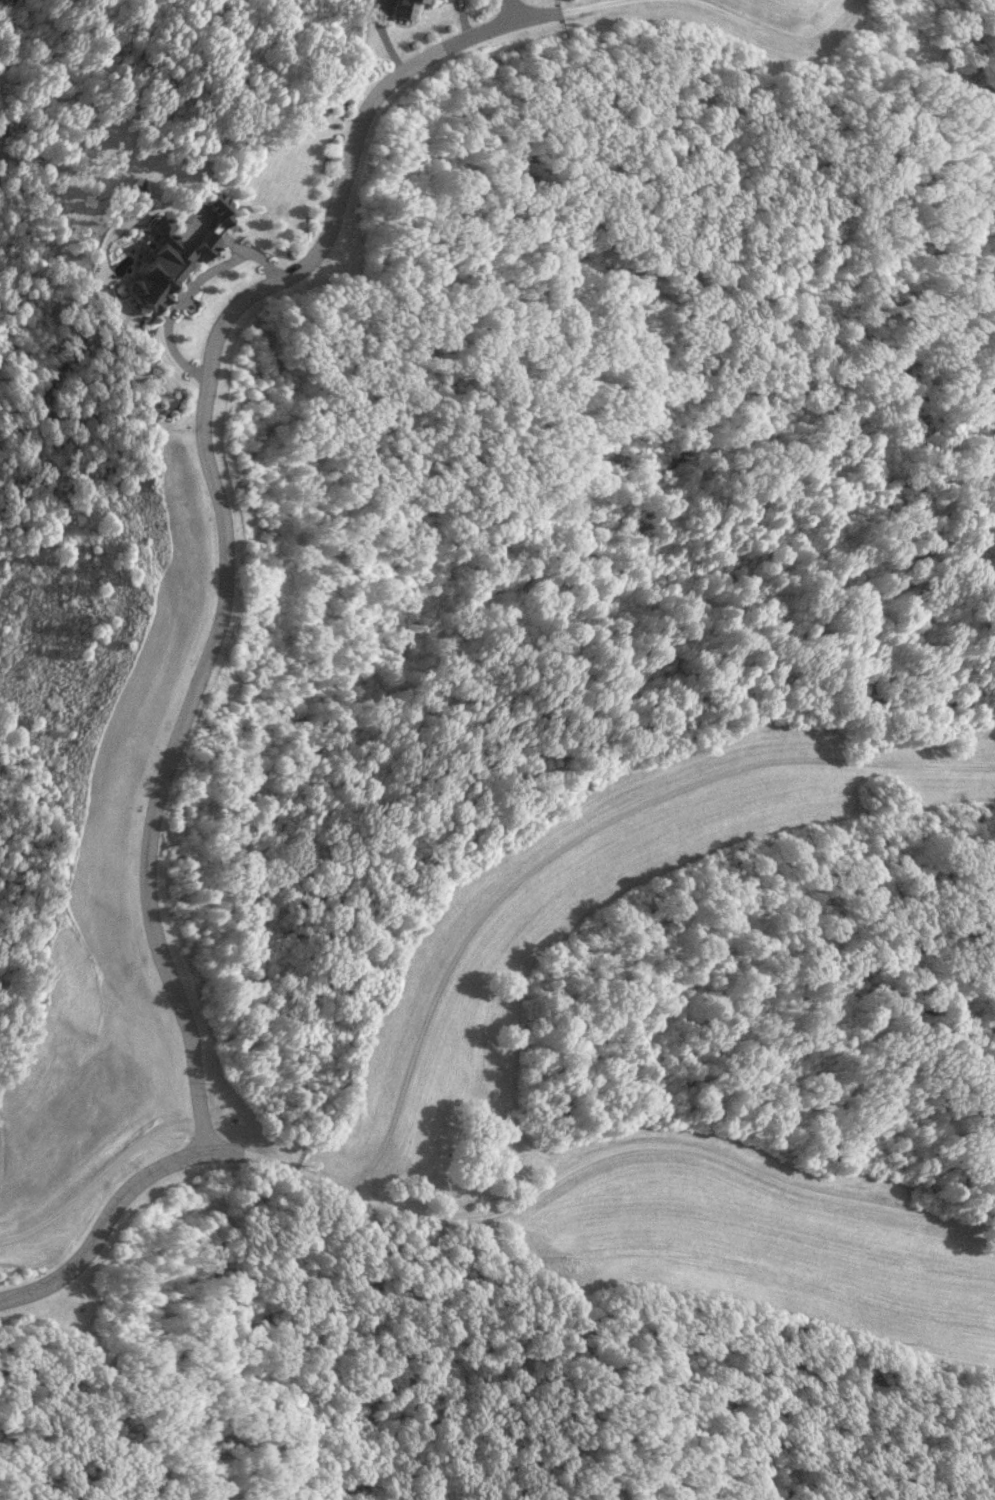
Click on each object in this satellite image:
building: (426, 1)
road: (569, 6)
building: (404, 8)
road: (512, 12)
road: (785, 36)
building: (177, 260)
road: (191, 291)
road: (224, 512)
road: (601, 859)
road: (653, 1144)
road: (150, 1181)

